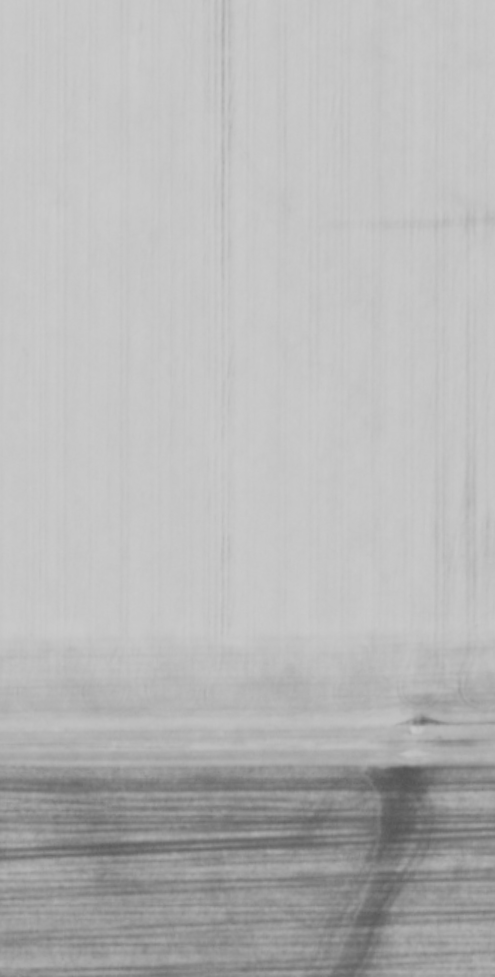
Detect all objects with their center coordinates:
road: (247, 753)

